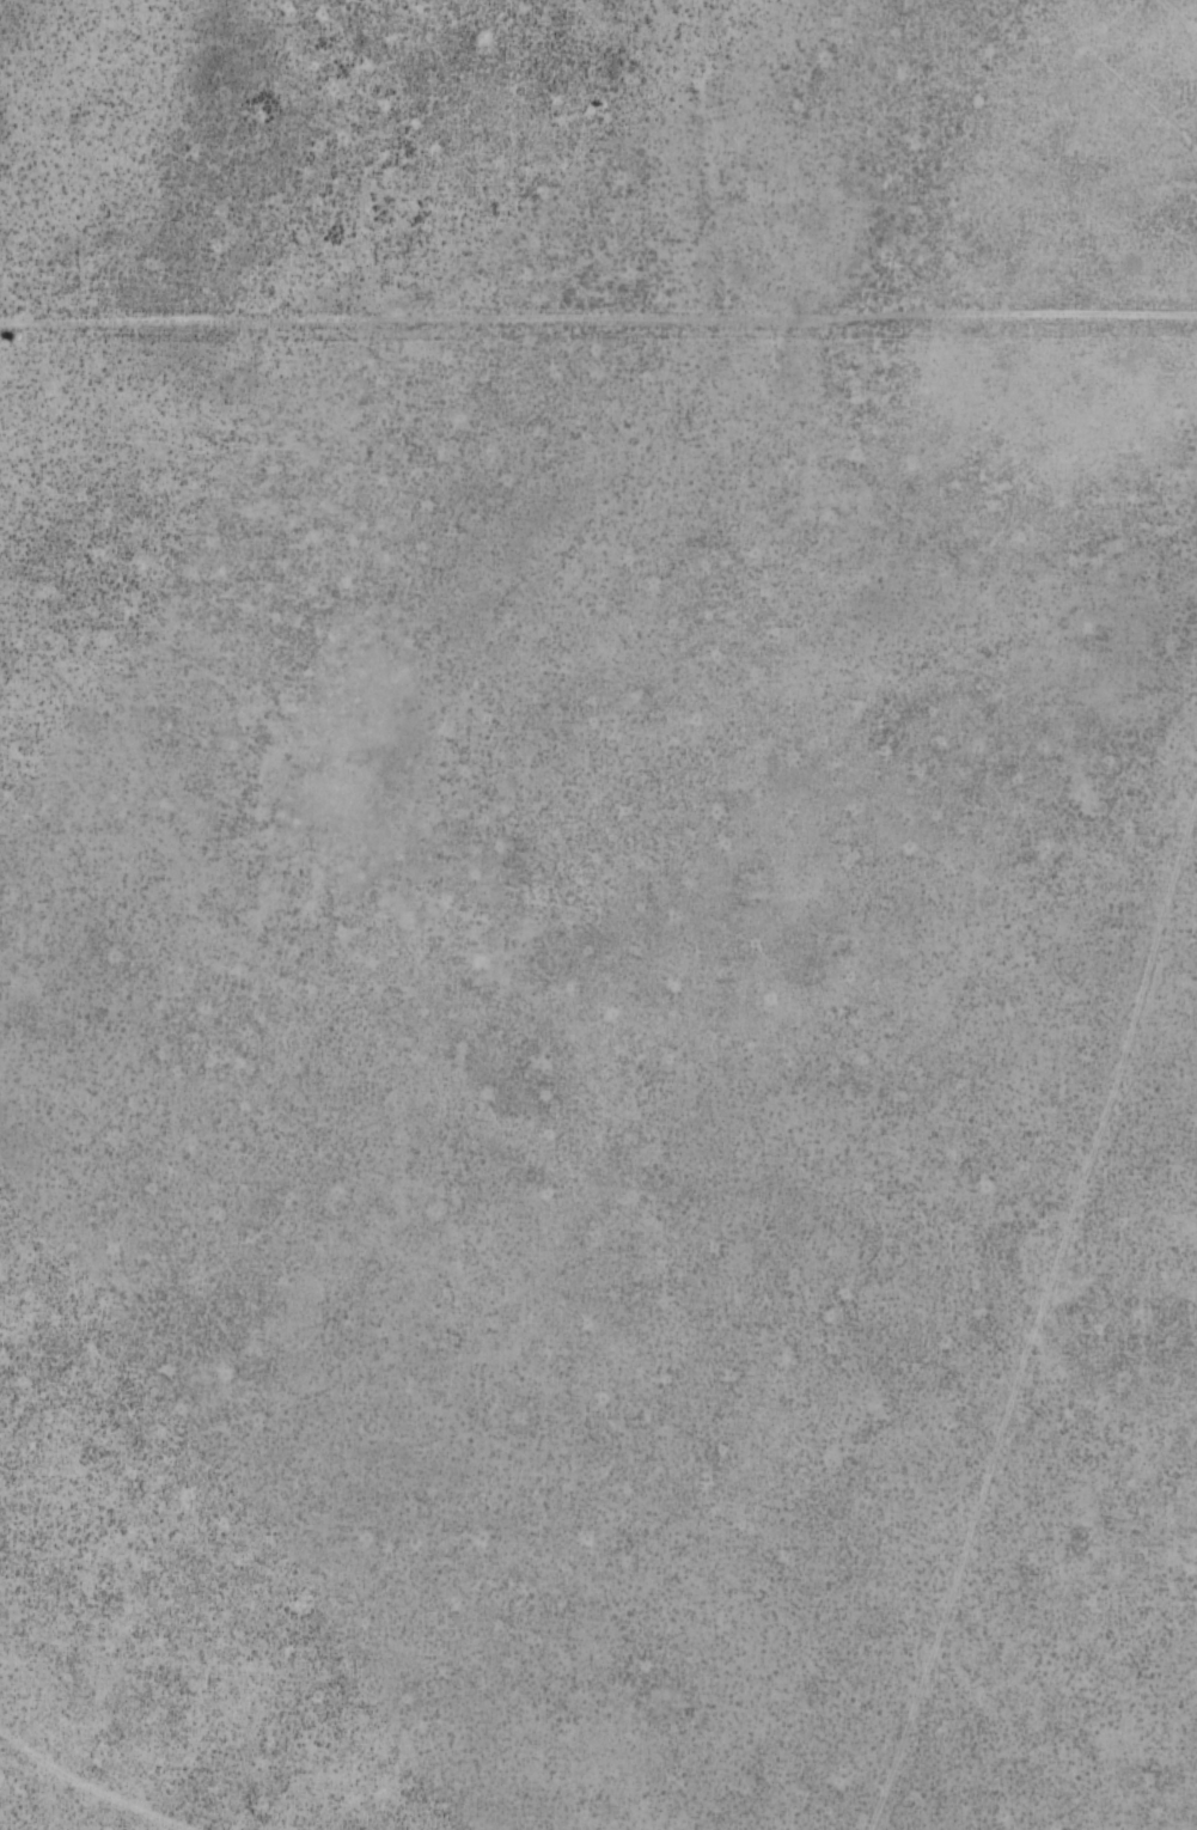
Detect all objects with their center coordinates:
road: (1186, 10)
road: (598, 289)

